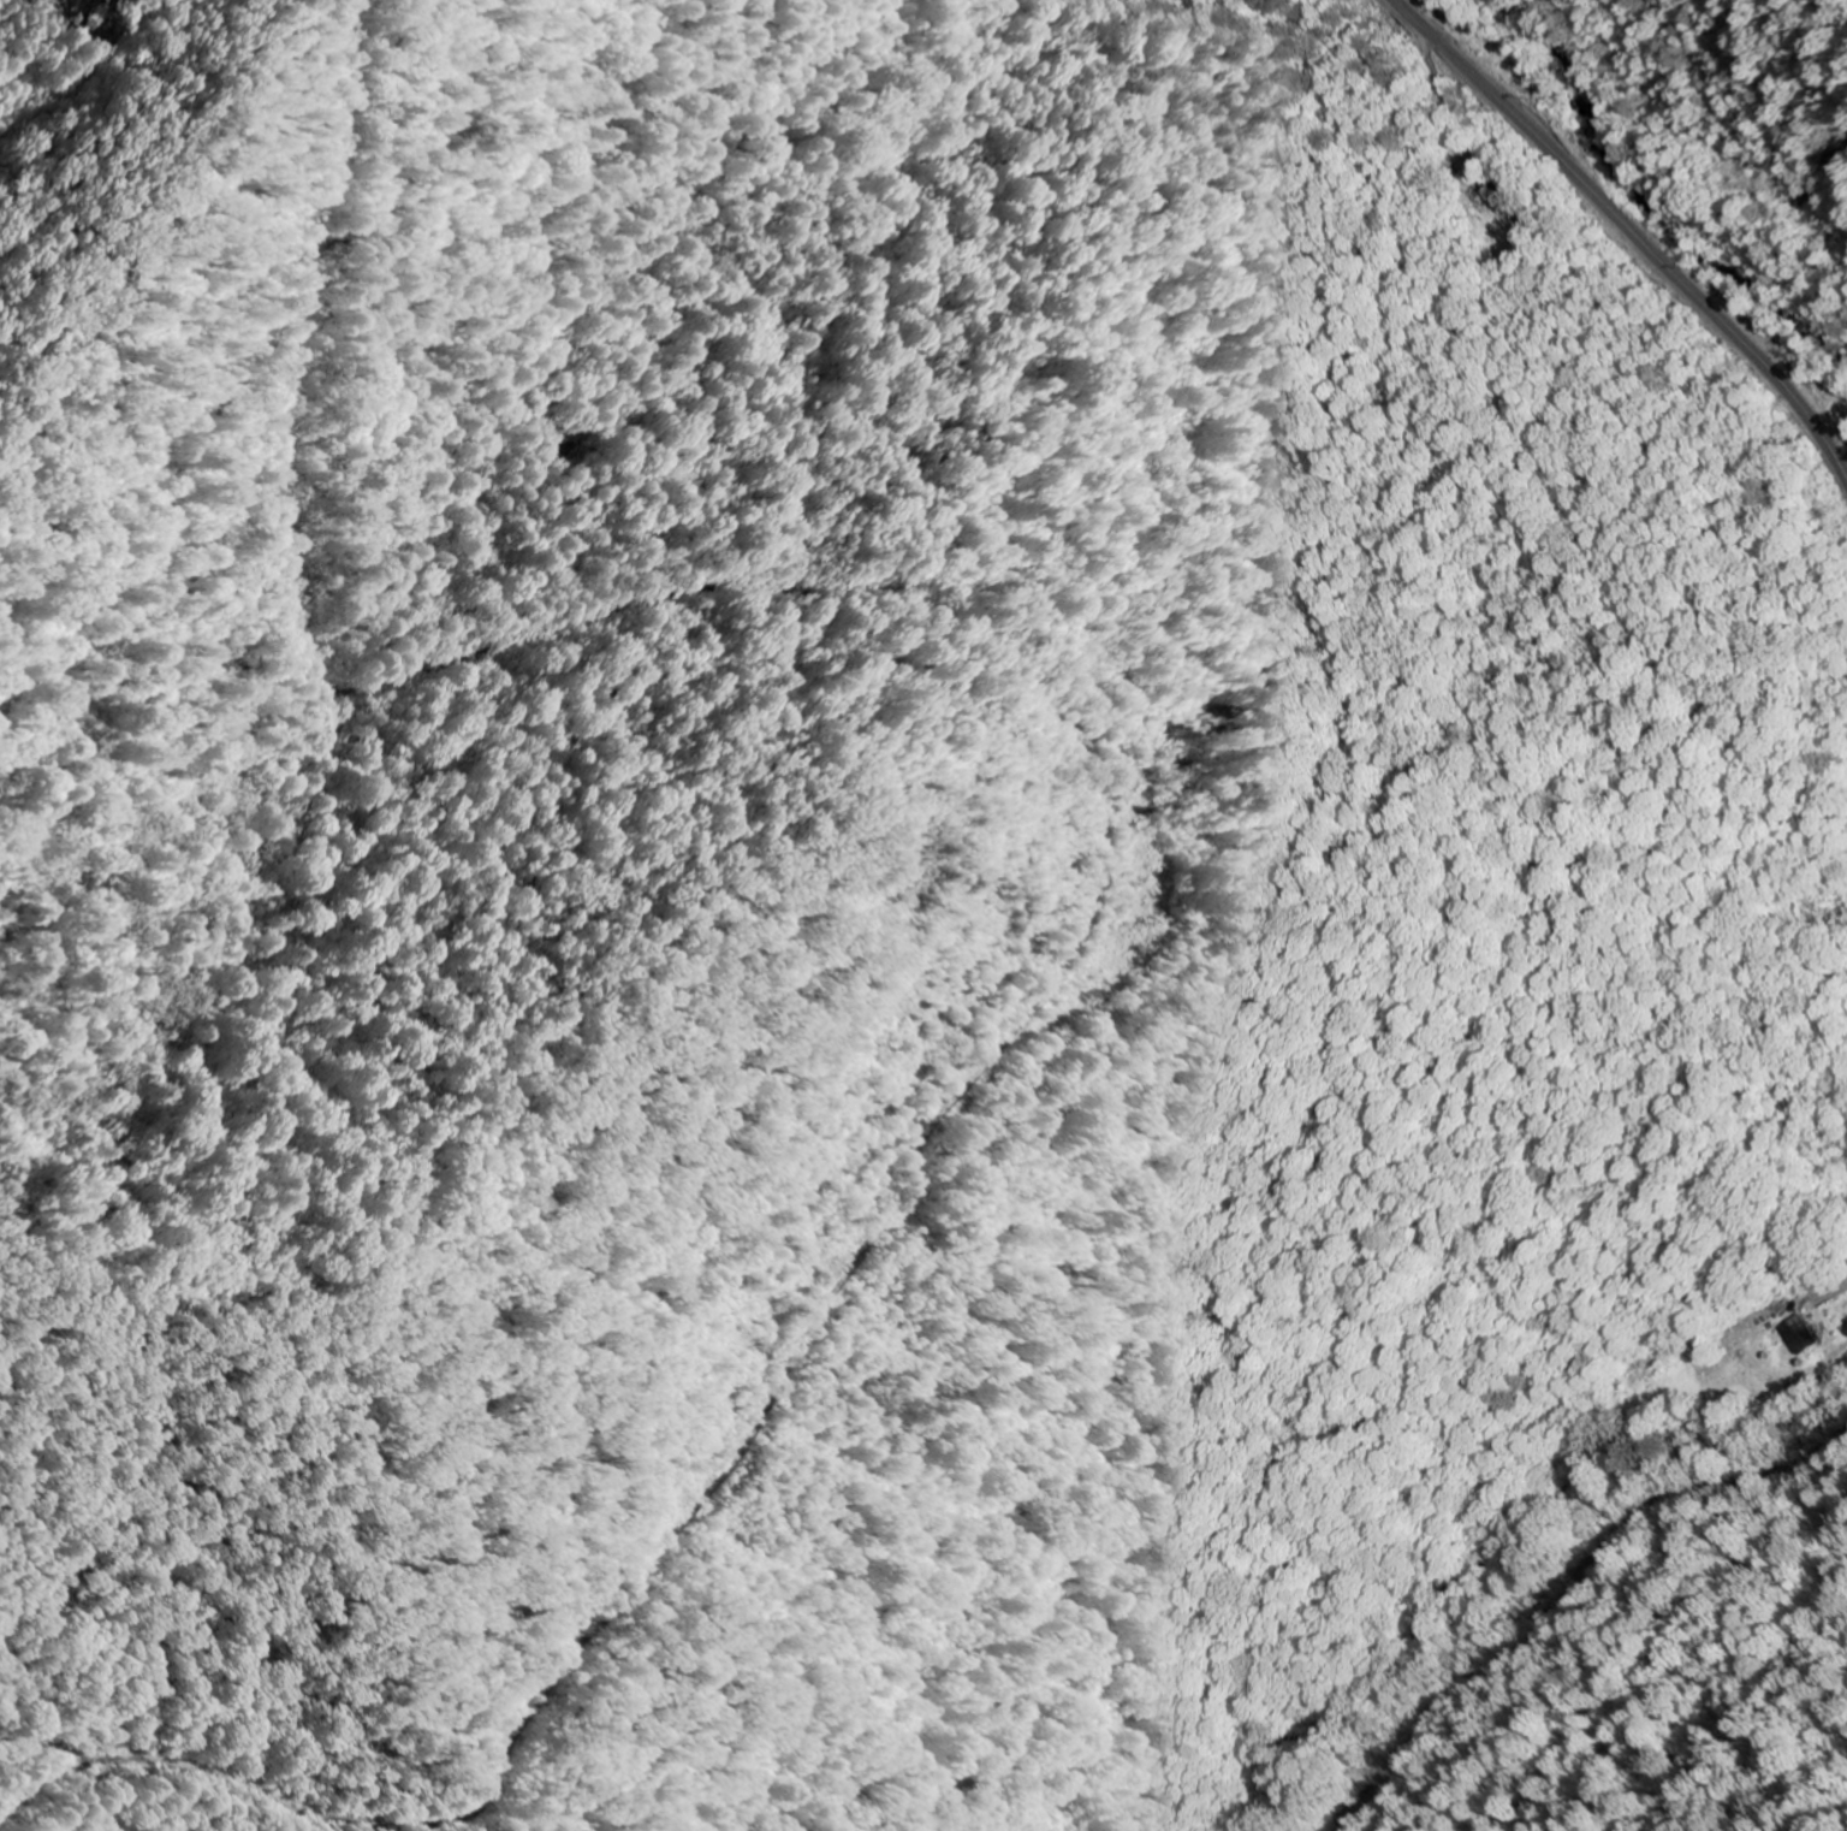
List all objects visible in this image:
road: (1542, 100)
road: (1632, 235)
building: (1798, 1338)
road: (1597, 1619)

